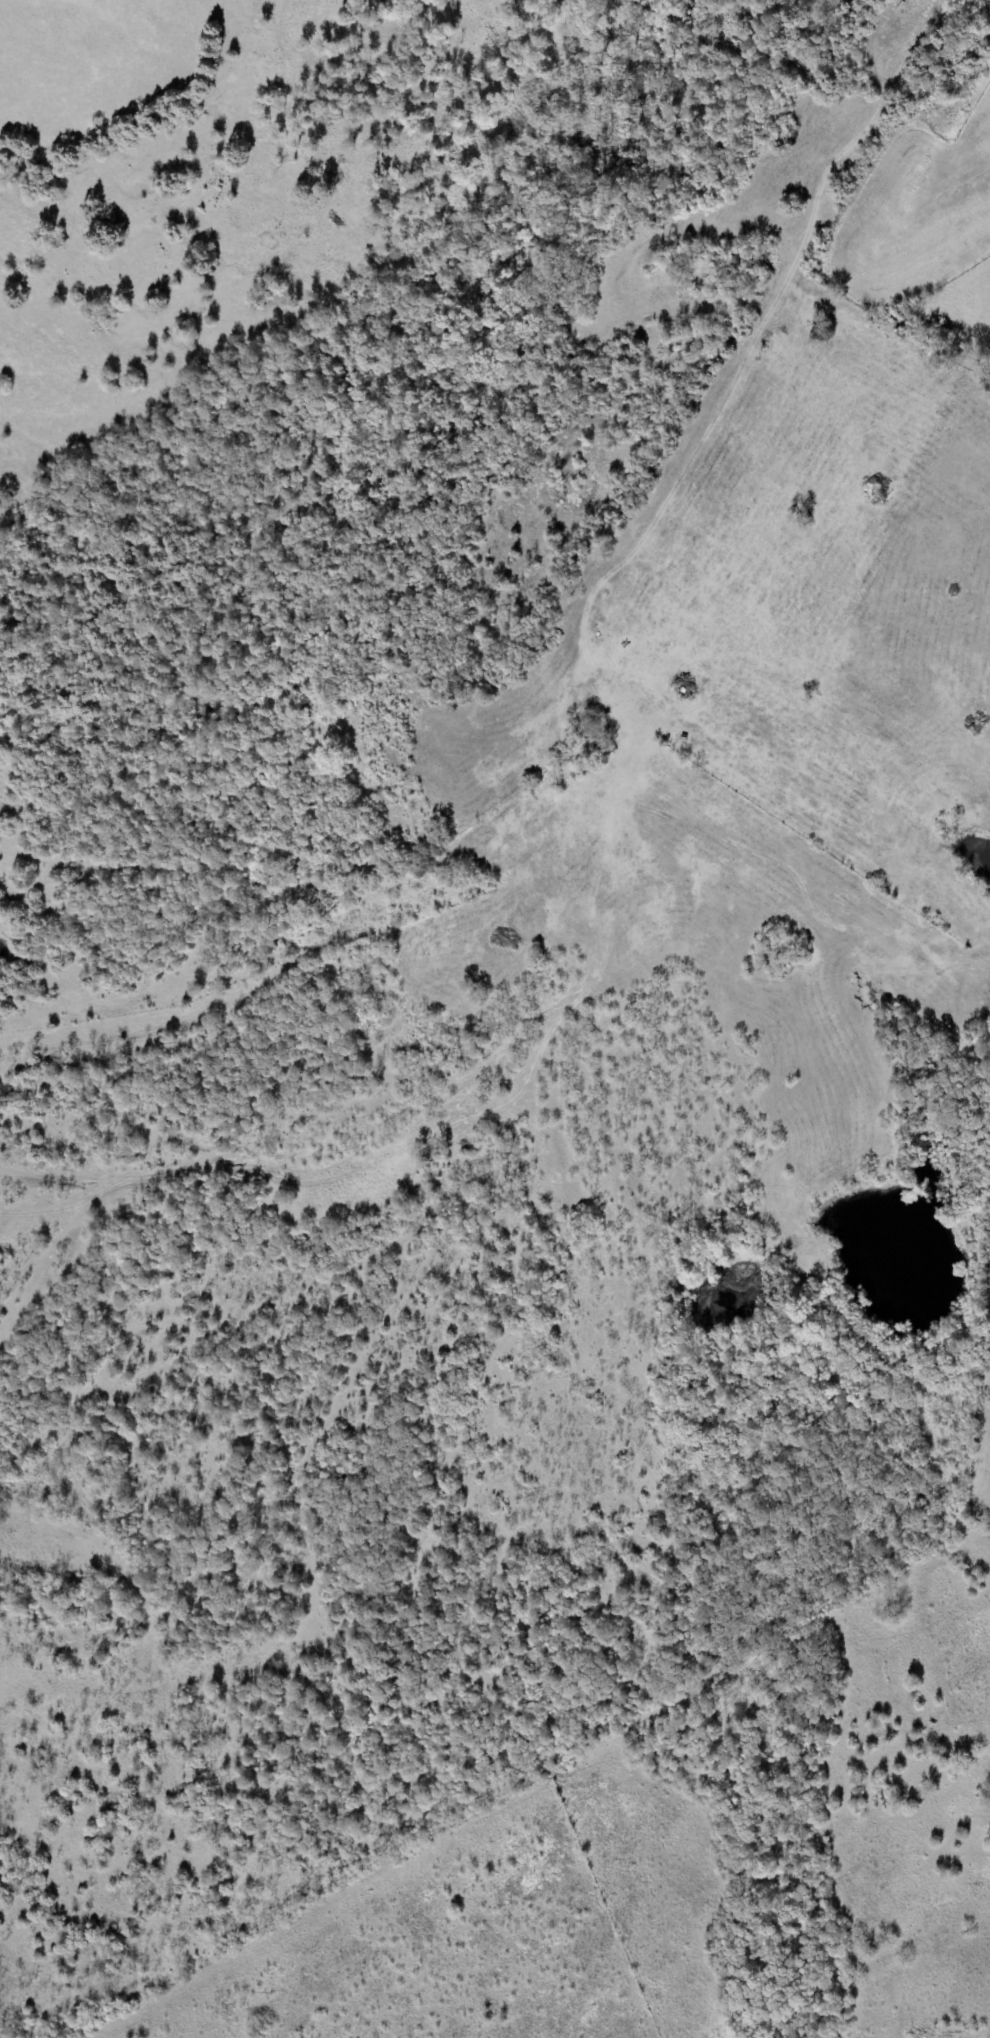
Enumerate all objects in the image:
road: (802, 356)

